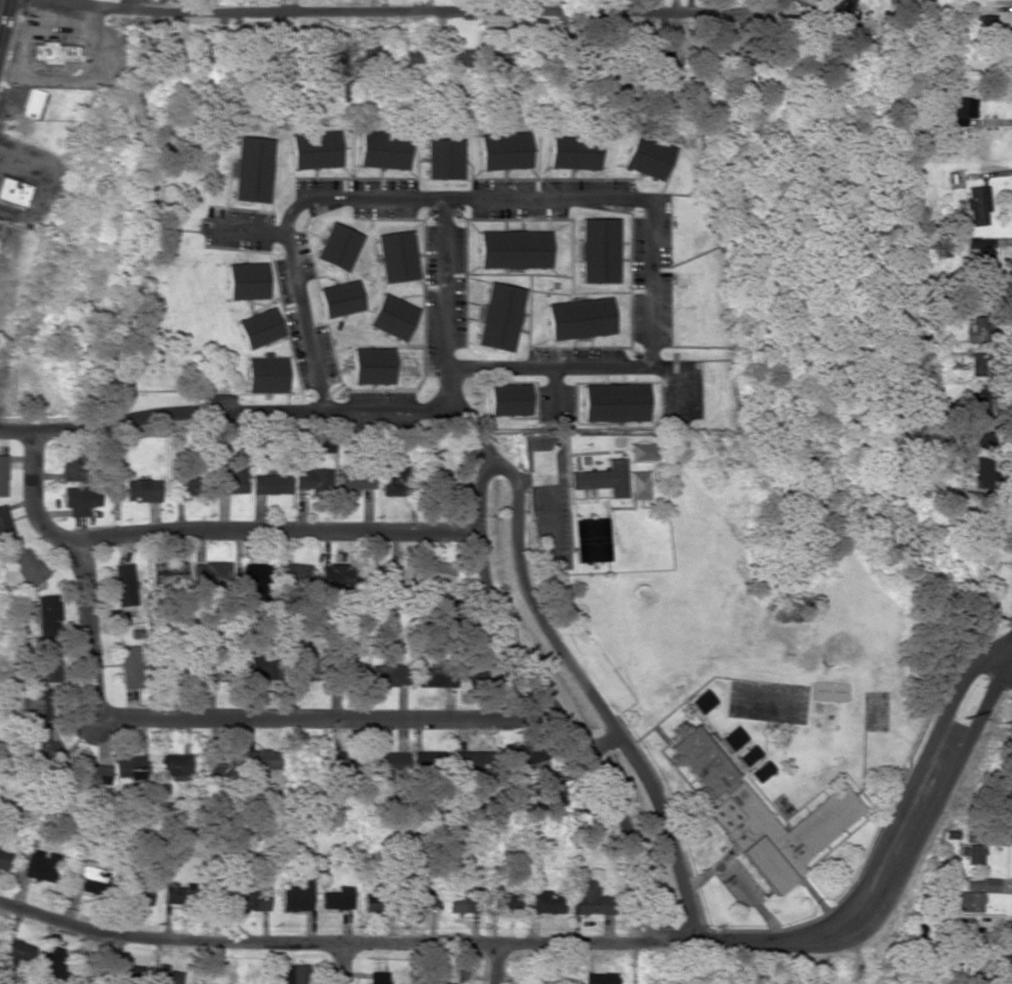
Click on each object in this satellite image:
road: (0, 2)
building: (842, 7)
road: (421, 15)
building: (986, 22)
building: (52, 53)
building: (372, 57)
building: (413, 57)
building: (459, 59)
building: (497, 61)
building: (31, 103)
building: (960, 110)
building: (384, 149)
building: (315, 150)
building: (504, 150)
building: (573, 151)
building: (646, 157)
building: (444, 158)
building: (251, 170)
building: (14, 192)
road: (499, 197)
building: (977, 205)
road: (562, 219)
parking lot: (237, 228)
road: (249, 229)
road: (311, 234)
road: (364, 237)
building: (337, 246)
building: (513, 249)
building: (598, 250)
road: (309, 252)
building: (981, 254)
building: (397, 256)
road: (551, 274)
building: (244, 280)
road: (550, 292)
road: (413, 295)
building: (339, 298)
road: (448, 302)
building: (393, 317)
building: (498, 317)
building: (578, 318)
building: (258, 328)
road: (379, 346)
road: (539, 346)
road: (426, 351)
road: (293, 357)
building: (372, 366)
road: (501, 366)
building: (266, 374)
road: (681, 380)
parking lot: (681, 389)
road: (554, 391)
building: (508, 399)
parking lot: (556, 403)
building: (614, 403)
building: (980, 403)
road: (240, 411)
road: (475, 422)
road: (17, 430)
building: (326, 444)
building: (644, 452)
building: (981, 455)
building: (73, 463)
building: (3, 475)
building: (313, 478)
building: (603, 478)
building: (233, 479)
building: (355, 482)
building: (398, 482)
building: (443, 483)
building: (271, 484)
building: (639, 485)
building: (185, 486)
building: (143, 490)
building: (81, 499)
building: (5, 524)
road: (274, 529)
building: (591, 539)
building: (29, 568)
building: (172, 569)
building: (211, 572)
building: (435, 573)
building: (295, 574)
building: (255, 577)
building: (124, 584)
building: (47, 615)
building: (47, 663)
building: (303, 663)
building: (130, 666)
building: (377, 671)
building: (438, 675)
road: (589, 692)
road: (548, 701)
building: (702, 702)
building: (38, 705)
road: (179, 718)
building: (50, 746)
building: (741, 747)
building: (432, 759)
building: (263, 760)
building: (472, 761)
building: (351, 762)
building: (218, 763)
building: (524, 763)
building: (389, 765)
building: (174, 766)
building: (132, 768)
building: (761, 772)
building: (94, 775)
building: (553, 791)
building: (760, 814)
building: (59, 825)
building: (974, 854)
building: (4, 860)
building: (37, 865)
building: (89, 880)
building: (982, 885)
building: (140, 895)
building: (297, 897)
building: (589, 897)
building: (337, 899)
building: (425, 899)
building: (254, 901)
building: (505, 901)
building: (965, 901)
building: (545, 902)
building: (374, 903)
building: (458, 904)
building: (969, 935)
road: (587, 943)
building: (16, 952)
building: (53, 963)
road: (342, 964)
road: (497, 964)
building: (91, 971)
building: (127, 972)
building: (296, 974)
building: (166, 975)
building: (377, 978)
building: (599, 978)

